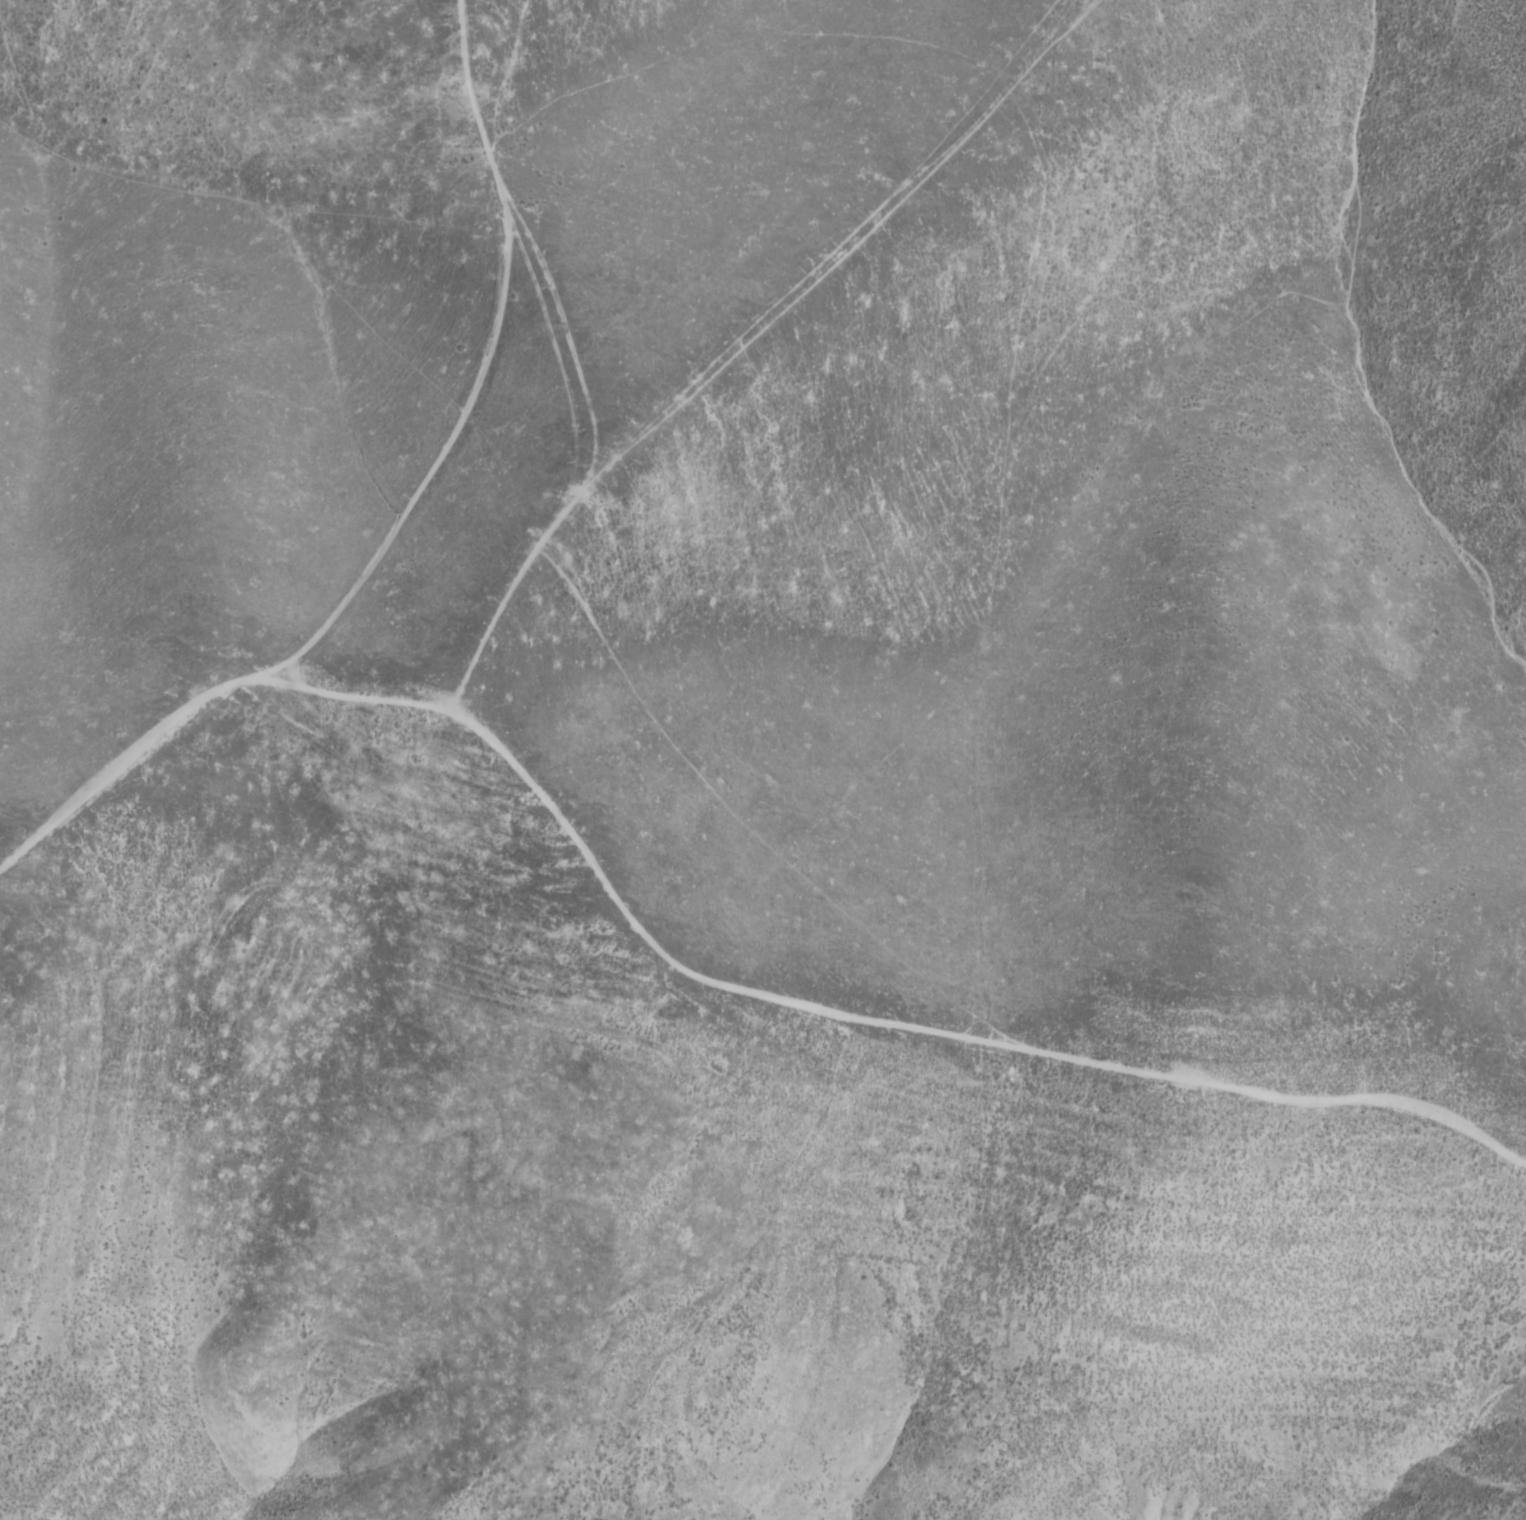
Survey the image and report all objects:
road: (741, 333)
road: (482, 382)
road: (682, 970)

